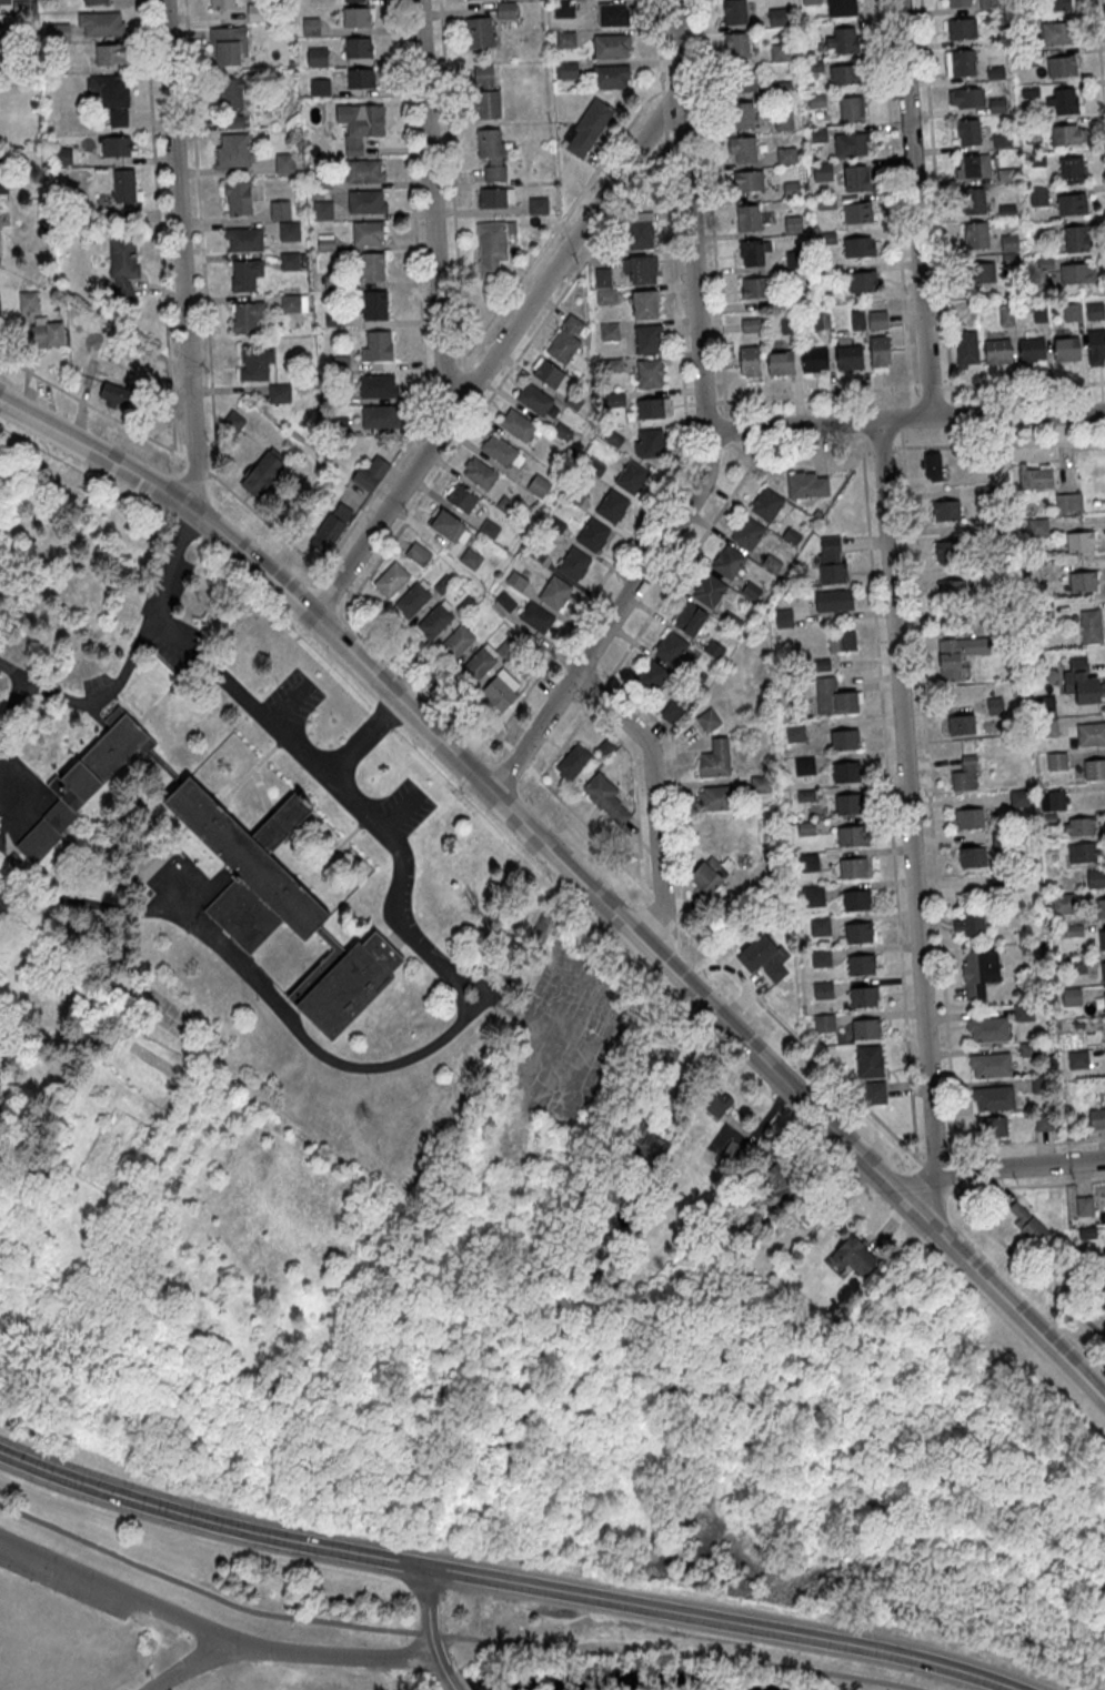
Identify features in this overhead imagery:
building: (354, 0)
building: (96, 2)
building: (956, 2)
building: (221, 3)
building: (1057, 4)
building: (842, 7)
building: (564, 8)
building: (505, 10)
building: (257, 12)
building: (733, 12)
building: (614, 14)
building: (358, 17)
building: (776, 17)
building: (101, 23)
building: (311, 26)
building: (962, 28)
building: (58, 31)
building: (479, 31)
building: (1056, 32)
building: (565, 39)
building: (843, 40)
building: (612, 44)
building: (228, 46)
building: (736, 46)
building: (358, 47)
road: (657, 47)
building: (780, 52)
building: (111, 53)
building: (317, 56)
road: (1099, 61)
building: (961, 62)
building: (1063, 66)
building: (813, 68)
building: (566, 70)
building: (844, 74)
building: (611, 76)
building: (361, 78)
building: (743, 82)
building: (319, 87)
building: (486, 91)
building: (113, 97)
building: (965, 97)
building: (1062, 101)
building: (232, 102)
building: (852, 108)
road: (663, 111)
building: (742, 114)
building: (783, 121)
building: (586, 127)
building: (967, 131)
building: (359, 132)
building: (1066, 134)
road: (680, 139)
building: (851, 143)
building: (117, 145)
building: (234, 149)
building: (742, 149)
building: (491, 154)
building: (786, 155)
building: (284, 162)
building: (973, 165)
building: (1071, 169)
building: (364, 171)
building: (822, 171)
building: (856, 178)
building: (2, 181)
building: (747, 181)
building: (124, 184)
road: (451, 184)
building: (495, 197)
building: (1037, 197)
building: (238, 198)
building: (973, 200)
building: (366, 201)
road: (896, 202)
road: (936, 202)
building: (1072, 203)
building: (539, 205)
road: (916, 207)
road: (711, 208)
building: (280, 209)
building: (322, 209)
road: (431, 211)
building: (857, 212)
road: (691, 214)
building: (747, 218)
road: (559, 222)
building: (792, 223)
road: (158, 224)
building: (640, 230)
building: (289, 231)
building: (368, 232)
building: (975, 234)
building: (1076, 238)
road: (200, 239)
building: (243, 239)
building: (325, 241)
building: (1008, 242)
building: (492, 245)
building: (861, 245)
building: (752, 252)
road: (180, 256)
building: (290, 260)
building: (371, 266)
building: (123, 268)
building: (640, 269)
building: (981, 272)
building: (245, 273)
building: (1077, 273)
building: (863, 281)
building: (604, 286)
building: (755, 286)
road: (419, 300)
building: (29, 301)
building: (290, 302)
building: (645, 303)
building: (372, 304)
building: (1073, 312)
building: (247, 316)
building: (856, 320)
building: (877, 320)
building: (822, 321)
building: (787, 324)
building: (609, 331)
building: (44, 333)
building: (566, 339)
building: (647, 339)
building: (1096, 344)
building: (376, 345)
building: (966, 349)
building: (1066, 350)
building: (997, 351)
building: (1032, 351)
building: (880, 352)
road: (493, 355)
building: (848, 356)
building: (814, 360)
building: (257, 361)
building: (750, 361)
building: (781, 362)
road: (512, 363)
building: (650, 372)
building: (551, 375)
road: (465, 382)
road: (1023, 382)
road: (930, 384)
building: (378, 385)
building: (279, 392)
road: (817, 392)
building: (114, 393)
building: (534, 399)
road: (690, 401)
road: (704, 401)
road: (91, 403)
building: (651, 406)
road: (953, 412)
building: (380, 415)
road: (906, 415)
road: (906, 416)
building: (516, 424)
road: (727, 427)
road: (902, 436)
building: (650, 442)
road: (998, 443)
road: (882, 446)
road: (867, 447)
building: (502, 451)
road: (793, 454)
road: (683, 457)
building: (995, 459)
road: (195, 463)
building: (931, 465)
building: (370, 472)
building: (479, 473)
building: (262, 474)
building: (1034, 475)
building: (631, 477)
building: (807, 483)
building: (538, 485)
building: (984, 493)
building: (461, 497)
building: (1068, 501)
building: (767, 502)
building: (612, 506)
building: (946, 509)
building: (816, 512)
road: (268, 523)
building: (449, 526)
building: (1037, 526)
building: (489, 529)
building: (993, 529)
building: (747, 530)
building: (328, 532)
building: (593, 534)
building: (792, 535)
building: (1079, 541)
building: (948, 550)
building: (418, 553)
building: (470, 559)
building: (727, 560)
building: (771, 562)
building: (832, 562)
building: (573, 563)
road: (680, 570)
building: (998, 570)
building: (391, 580)
building: (516, 581)
building: (1082, 581)
road: (339, 582)
building: (710, 587)
building: (751, 590)
building: (952, 590)
building: (555, 593)
building: (834, 598)
building: (412, 600)
building: (502, 603)
building: (1041, 608)
road: (610, 614)
building: (536, 616)
building: (689, 616)
building: (784, 616)
building: (1074, 616)
building: (732, 618)
building: (434, 621)
building: (1091, 625)
building: (841, 638)
building: (456, 642)
building: (670, 646)
building: (714, 647)
road: (133, 648)
building: (958, 654)
building: (479, 662)
road: (429, 667)
road: (10, 668)
building: (652, 674)
building: (695, 674)
building: (1082, 682)
building: (501, 690)
road: (599, 690)
building: (835, 696)
road: (287, 701)
building: (1045, 705)
road: (10, 708)
building: (672, 710)
building: (707, 720)
building: (961, 724)
building: (1045, 727)
building: (794, 732)
building: (1091, 734)
road: (360, 738)
road: (566, 738)
building: (845, 738)
road: (518, 756)
building: (716, 756)
building: (1056, 761)
building: (572, 762)
building: (804, 764)
building: (1094, 768)
building: (846, 769)
building: (964, 774)
building: (761, 783)
building: (805, 794)
road: (908, 795)
building: (719, 796)
road: (928, 797)
building: (1018, 797)
building: (1053, 798)
building: (607, 799)
road: (888, 801)
building: (847, 802)
road: (654, 803)
road: (402, 811)
building: (970, 817)
building: (1047, 818)
building: (806, 826)
building: (1082, 826)
building: (850, 834)
building: (1001, 839)
building: (1082, 852)
building: (973, 856)
building: (808, 861)
building: (151, 862)
building: (16, 865)
building: (853, 866)
road: (573, 874)
building: (707, 874)
building: (1095, 877)
building: (267, 878)
building: (1002, 882)
building: (813, 894)
building: (856, 898)
building: (1063, 903)
building: (1101, 907)
building: (971, 919)
building: (820, 924)
building: (858, 930)
building: (1074, 930)
building: (1102, 939)
building: (1039, 945)
road: (432, 953)
building: (764, 956)
building: (821, 956)
road: (722, 962)
building: (861, 963)
building: (1076, 964)
building: (978, 970)
building: (1103, 970)
building: (823, 988)
building: (864, 995)
building: (1071, 996)
building: (1104, 998)
building: (1097, 1000)
building: (1024, 1012)
building: (824, 1020)
building: (1078, 1025)
building: (866, 1027)
building: (987, 1028)
building: (1029, 1048)
road: (672, 1050)
building: (870, 1059)
building: (1078, 1059)
building: (991, 1064)
building: (662, 1074)
building: (1041, 1084)
building: (875, 1096)
building: (993, 1097)
building: (715, 1103)
building: (1097, 1117)
building: (1043, 1119)
building: (993, 1126)
road: (1029, 1141)
building: (645, 1146)
road: (951, 1149)
road: (918, 1150)
road: (935, 1150)
road: (956, 1153)
building: (734, 1154)
road: (1001, 1165)
road: (957, 1168)
road: (935, 1174)
building: (771, 1179)
road: (1027, 1185)
road: (958, 1189)
building: (1083, 1205)
building: (808, 1213)
building: (1025, 1221)
building: (1086, 1231)
building: (855, 1255)
road: (1026, 1266)
building: (1092, 1279)
building: (1099, 1302)
park: (719, 1517)
parking lot: (67, 1575)
road: (501, 1581)
park: (175, 1608)
road: (429, 1623)
road: (212, 1628)
road: (444, 1633)
road: (195, 1661)
river: (603, 1680)
road: (452, 1683)

